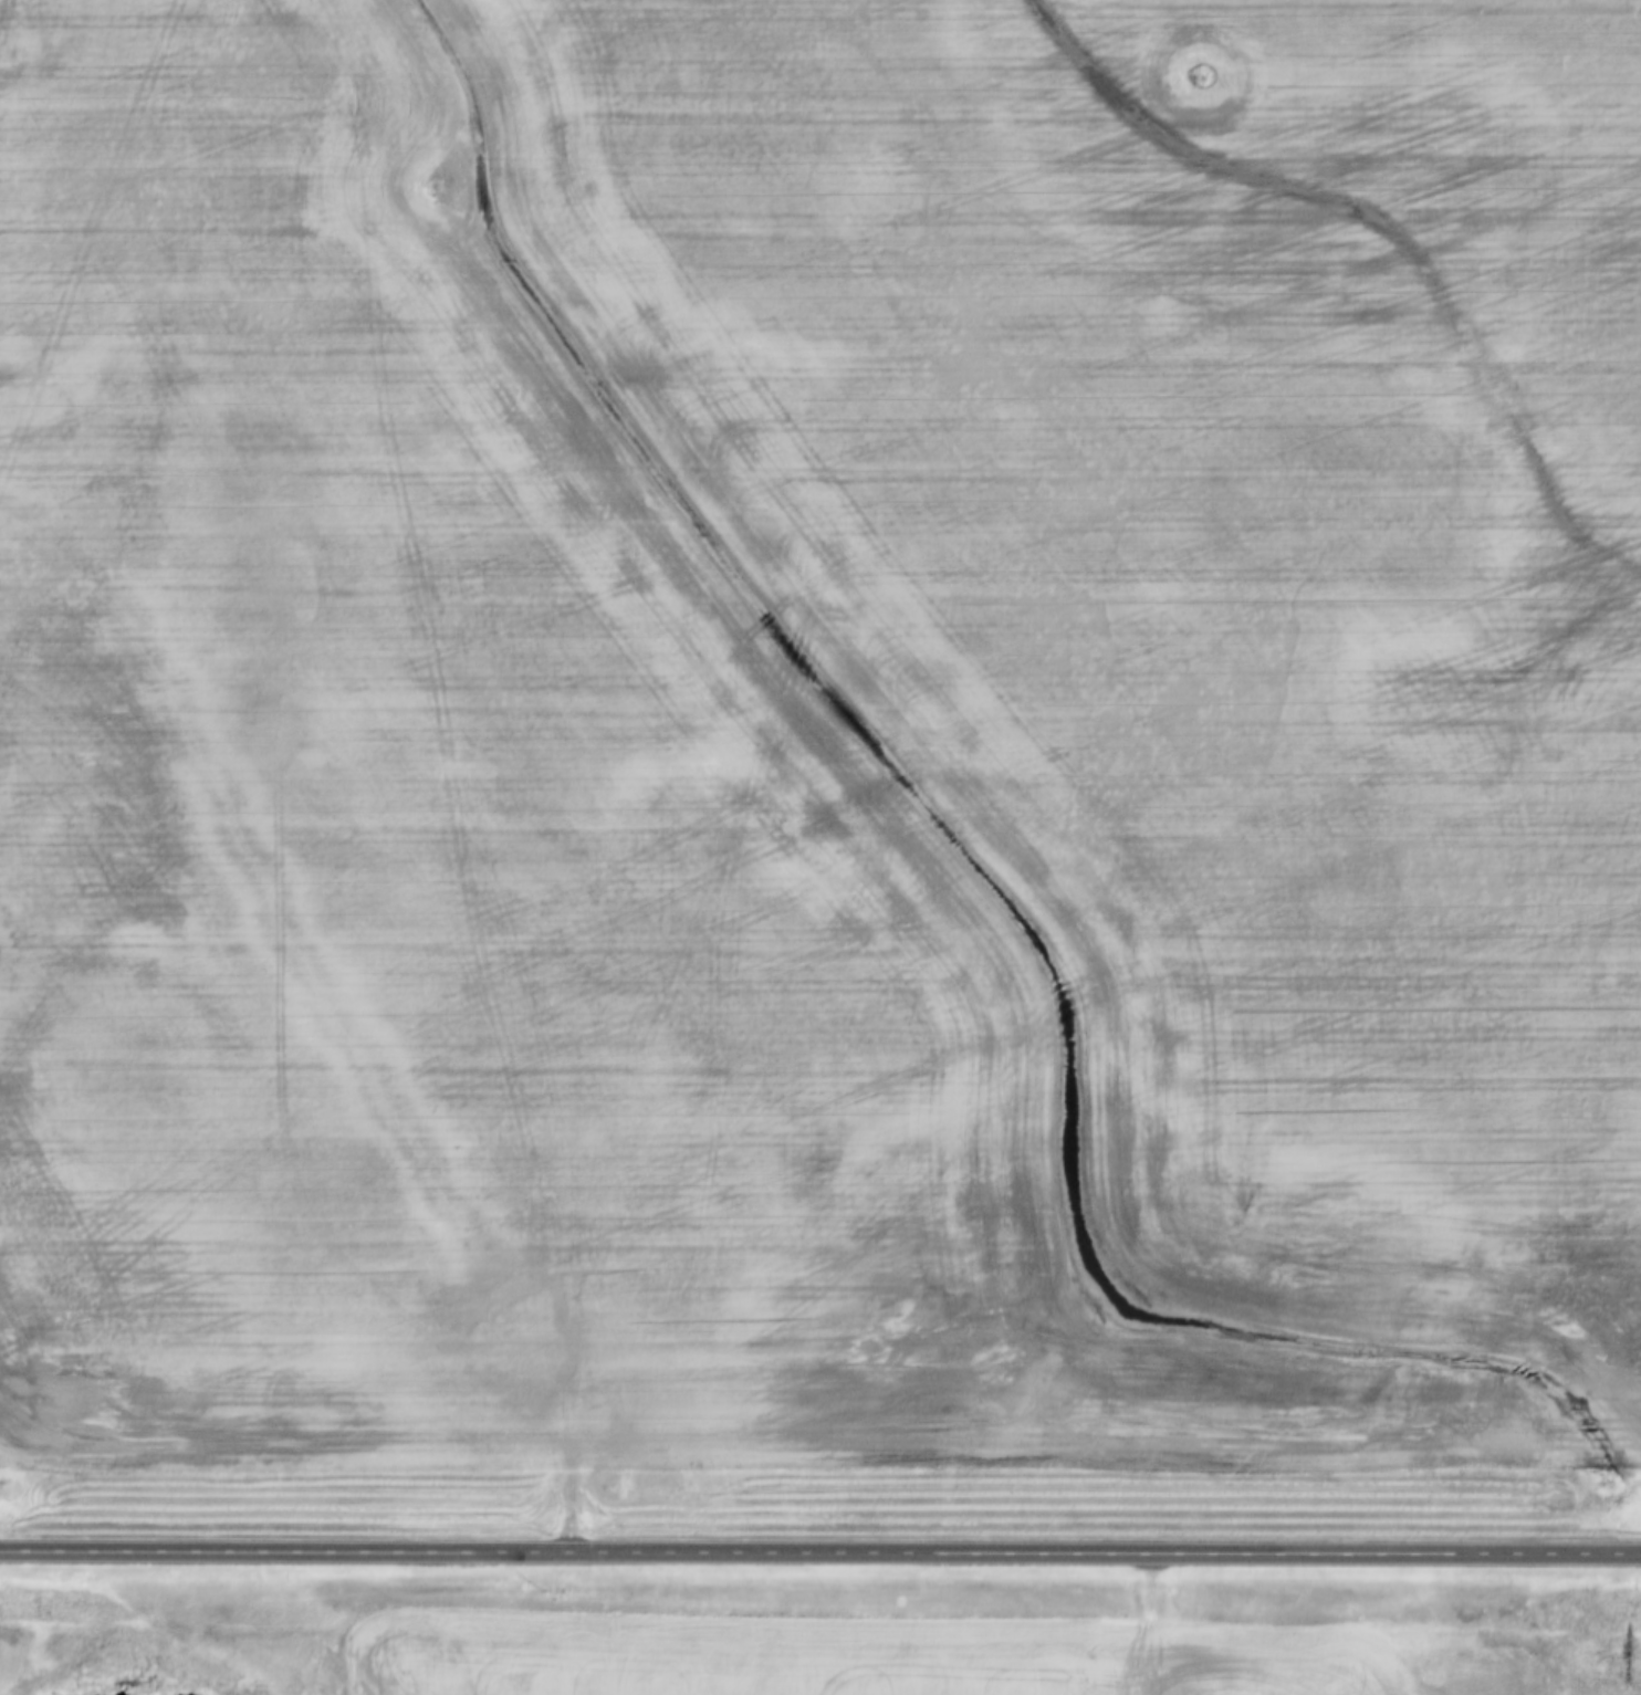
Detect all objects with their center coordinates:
road: (819, 1549)

